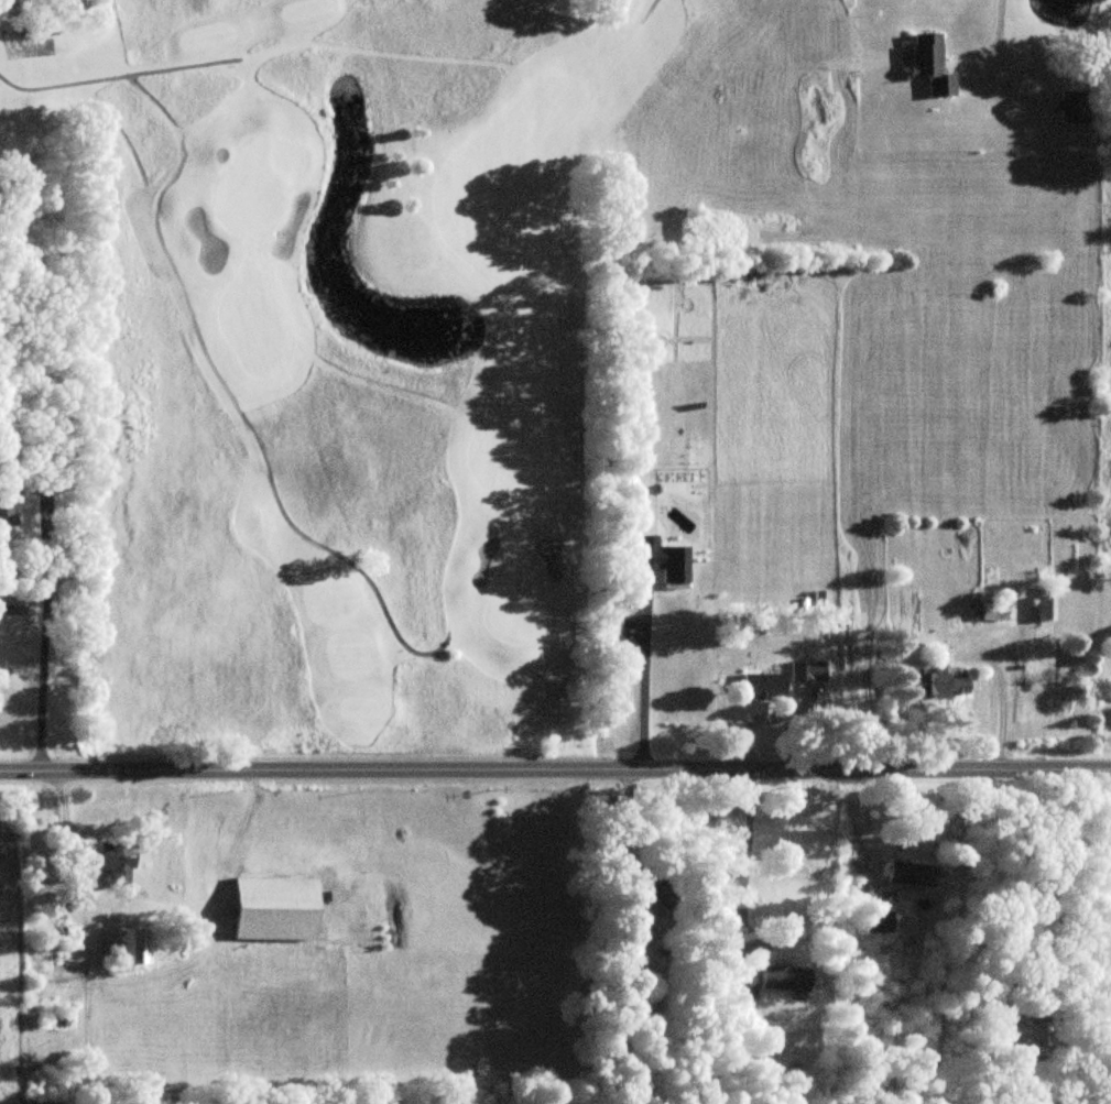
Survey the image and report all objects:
road: (993, 40)
building: (927, 64)
building: (1072, 107)
park: (337, 354)
building: (6, 504)
building: (1045, 603)
building: (992, 611)
road: (44, 630)
building: (783, 680)
building: (940, 686)
road: (640, 689)
road: (1001, 695)
road: (555, 772)
road: (742, 861)
building: (115, 862)
building: (907, 874)
road: (1042, 885)
building: (653, 889)
building: (272, 909)
building: (875, 921)
building: (131, 947)
building: (782, 979)
building: (745, 988)
building: (1020, 1036)

